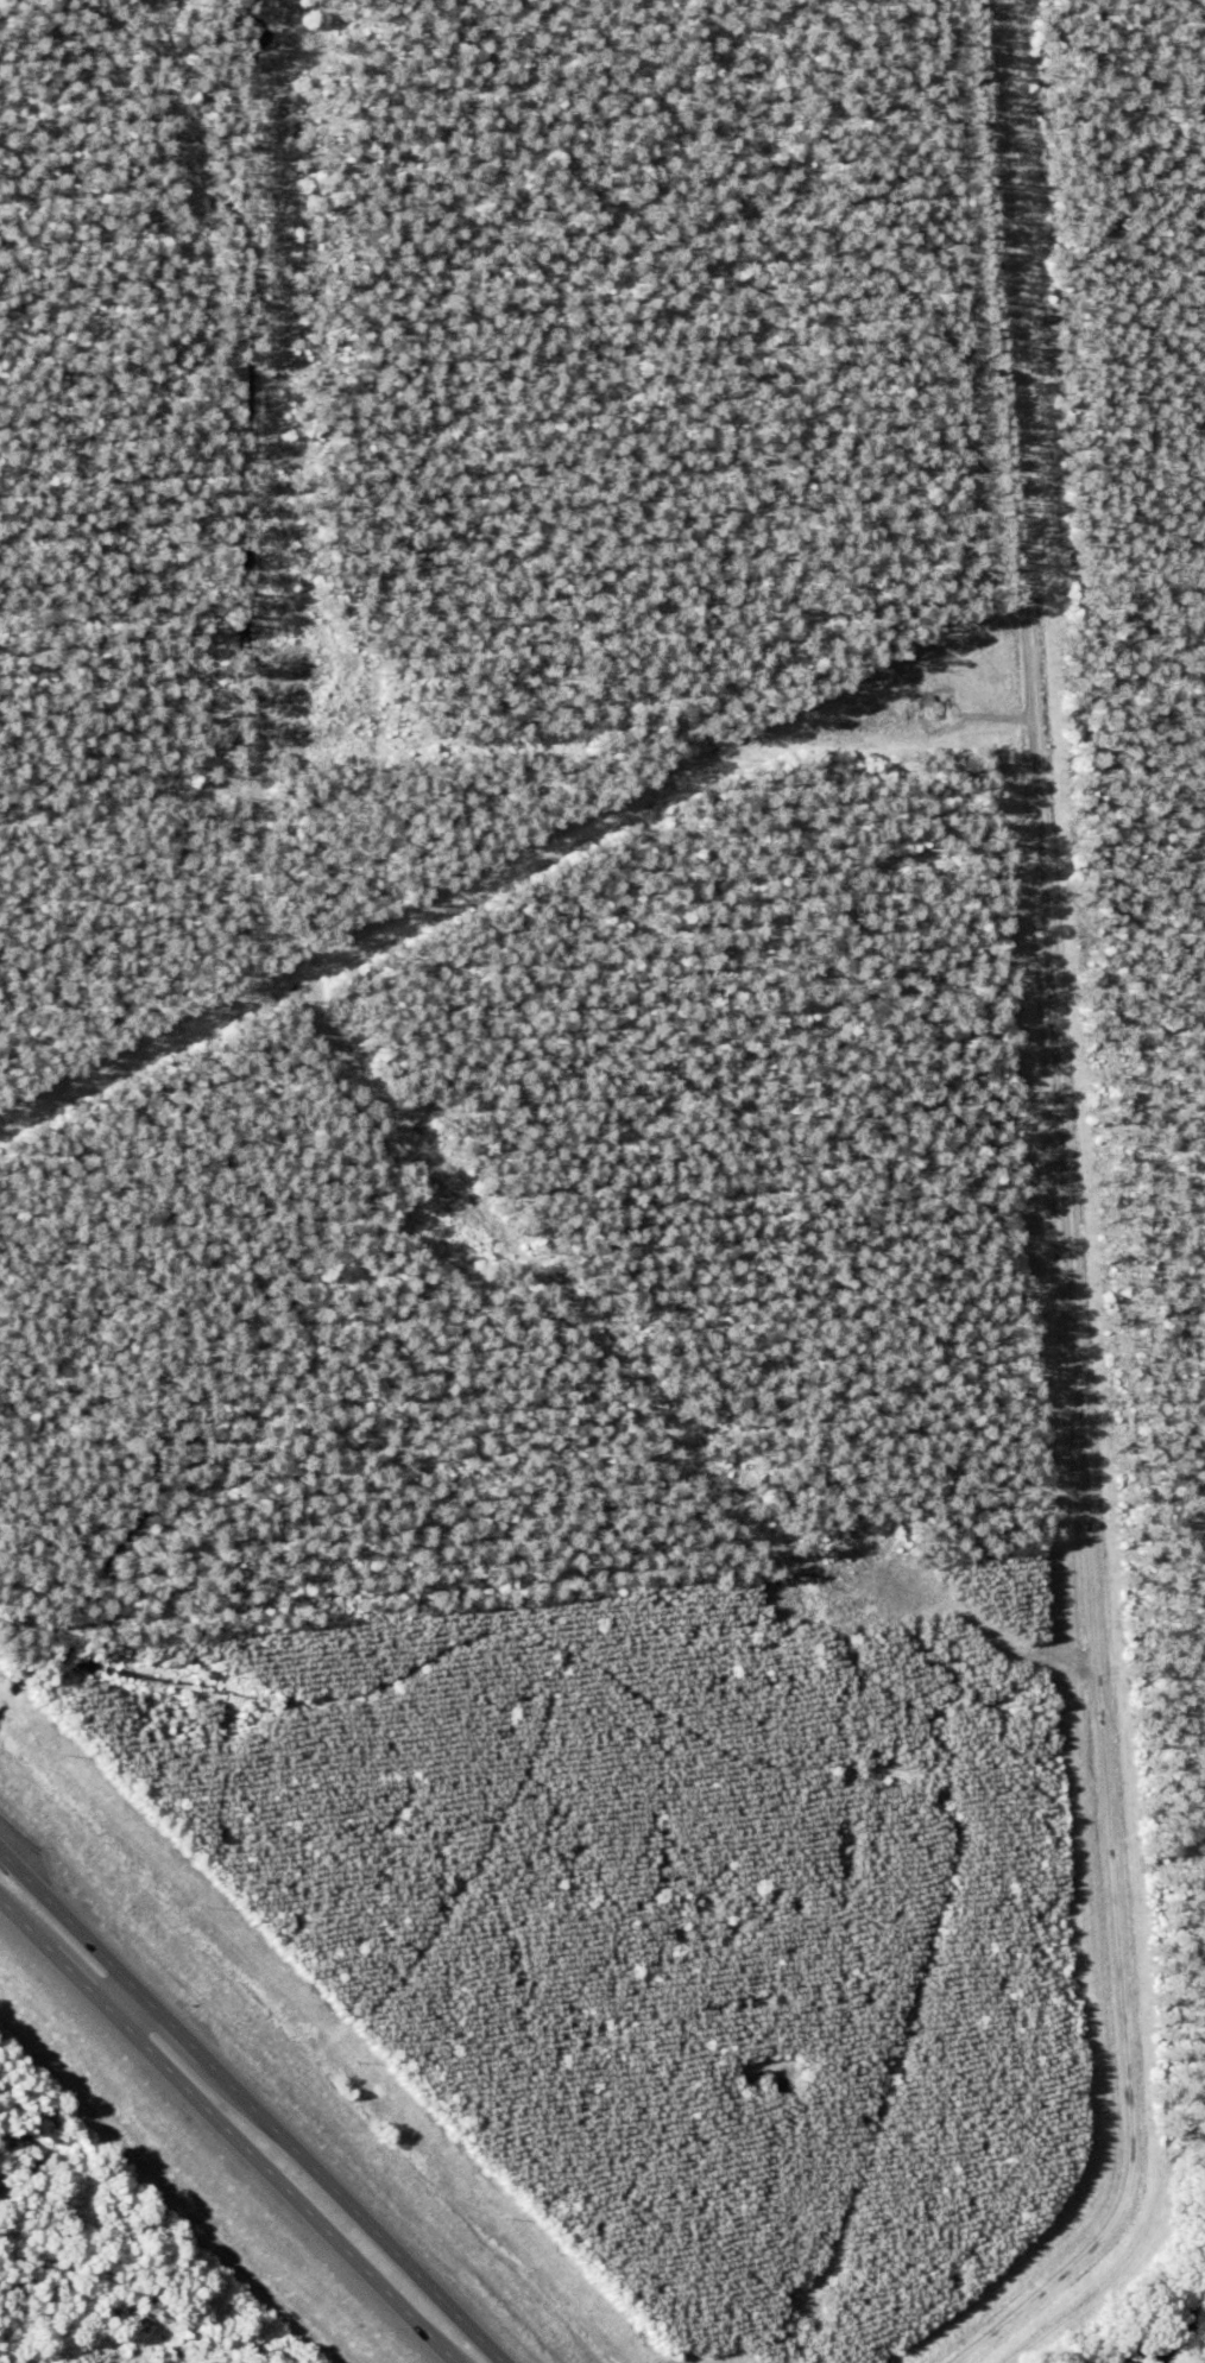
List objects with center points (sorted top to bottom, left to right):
road: (125, 2008)
road: (247, 2109)
road: (225, 2134)

